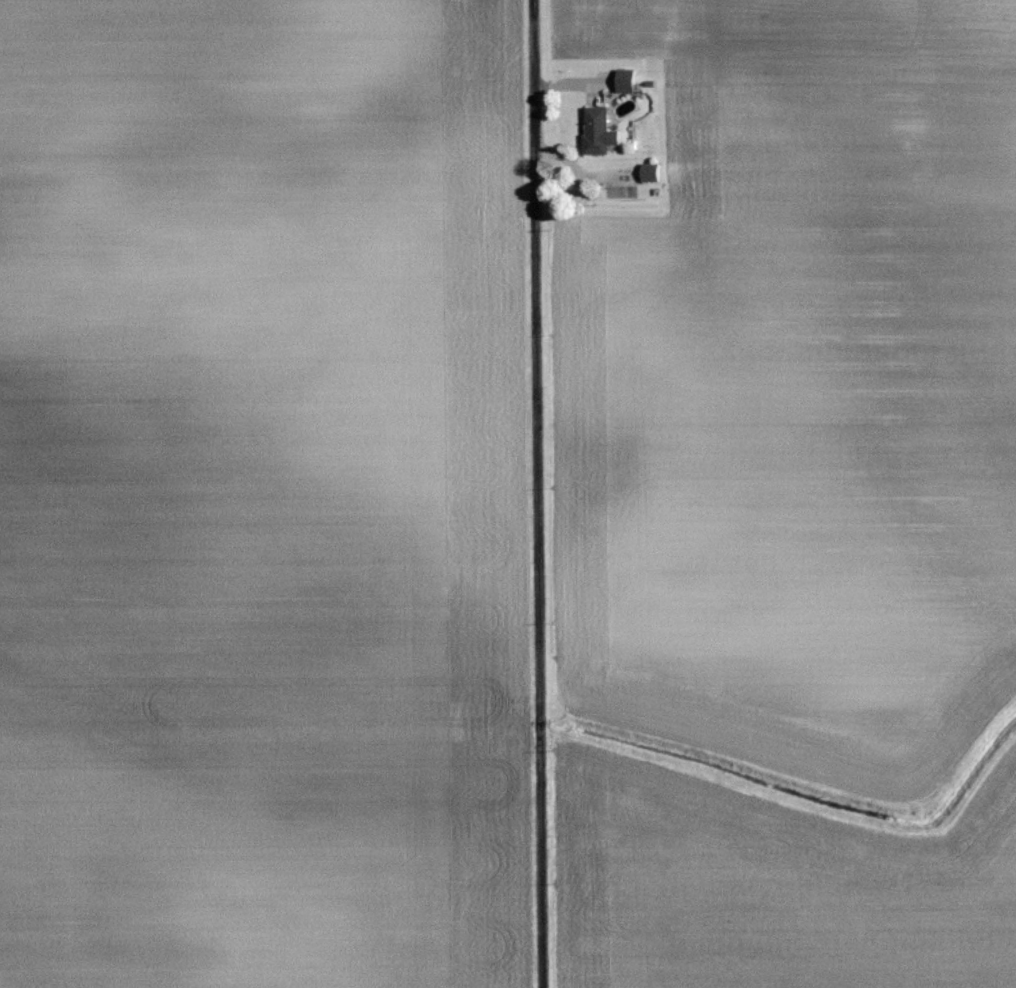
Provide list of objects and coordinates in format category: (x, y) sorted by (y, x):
building: (626, 80)
building: (596, 131)
building: (650, 173)
road: (542, 494)

